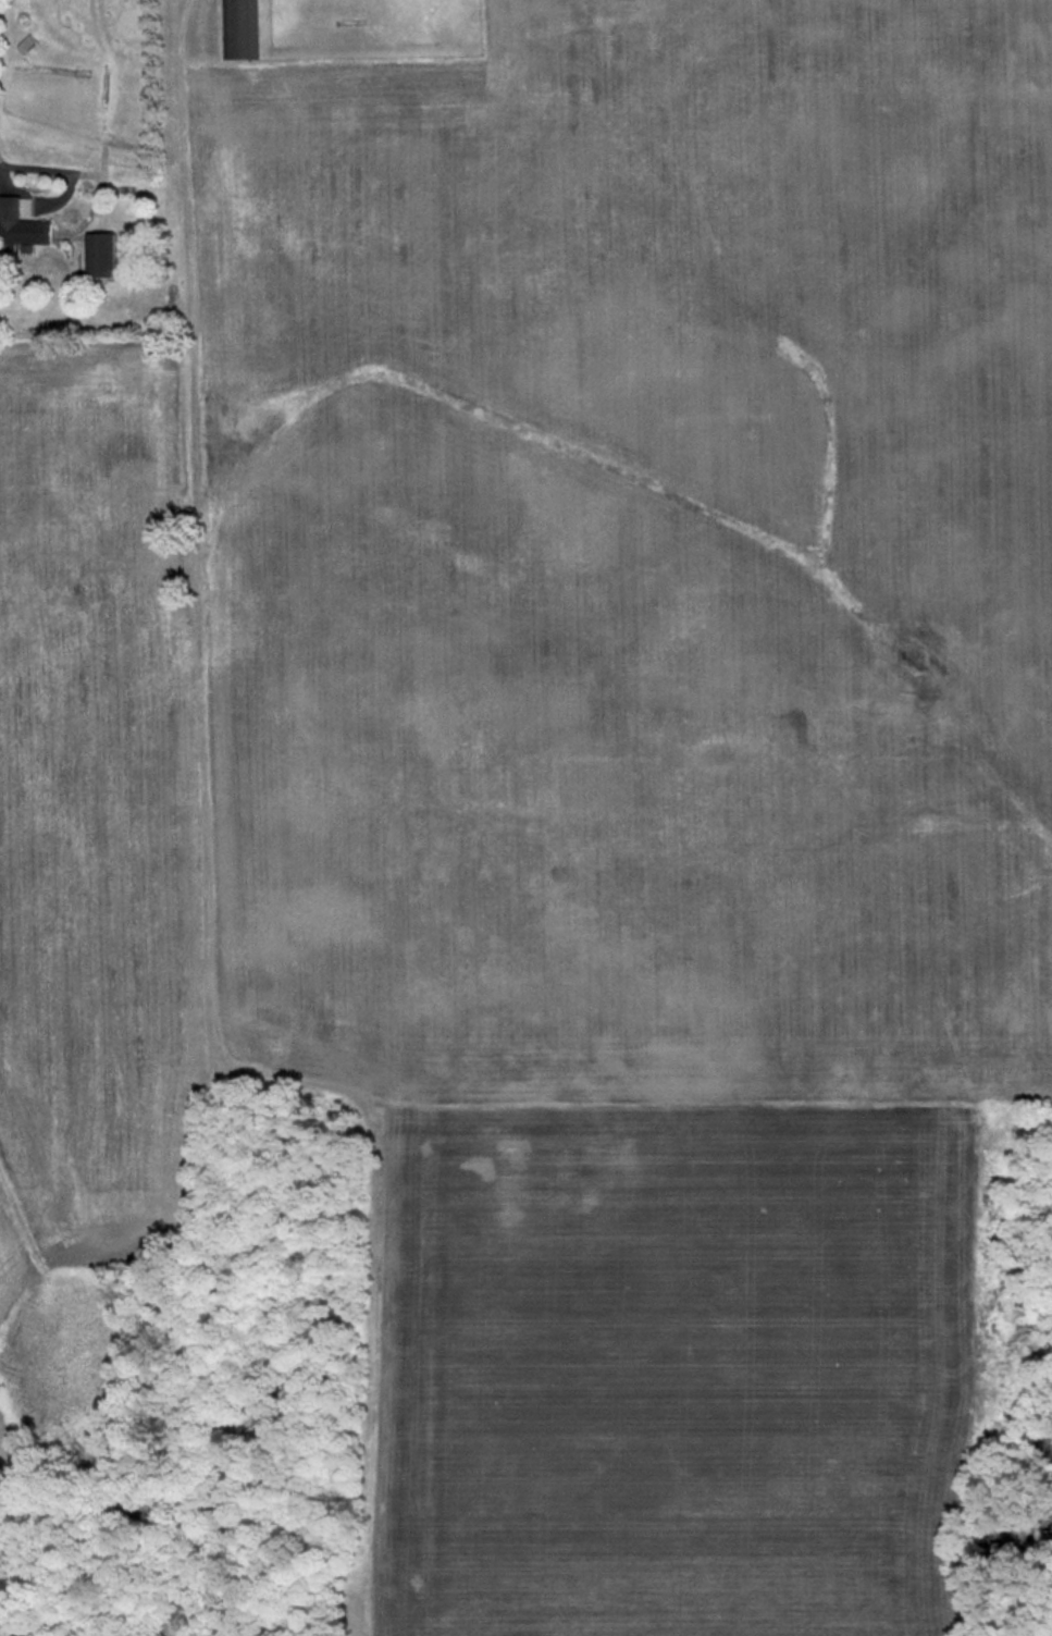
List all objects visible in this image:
building: (239, 29)
road: (3, 177)
building: (23, 232)
building: (99, 255)

